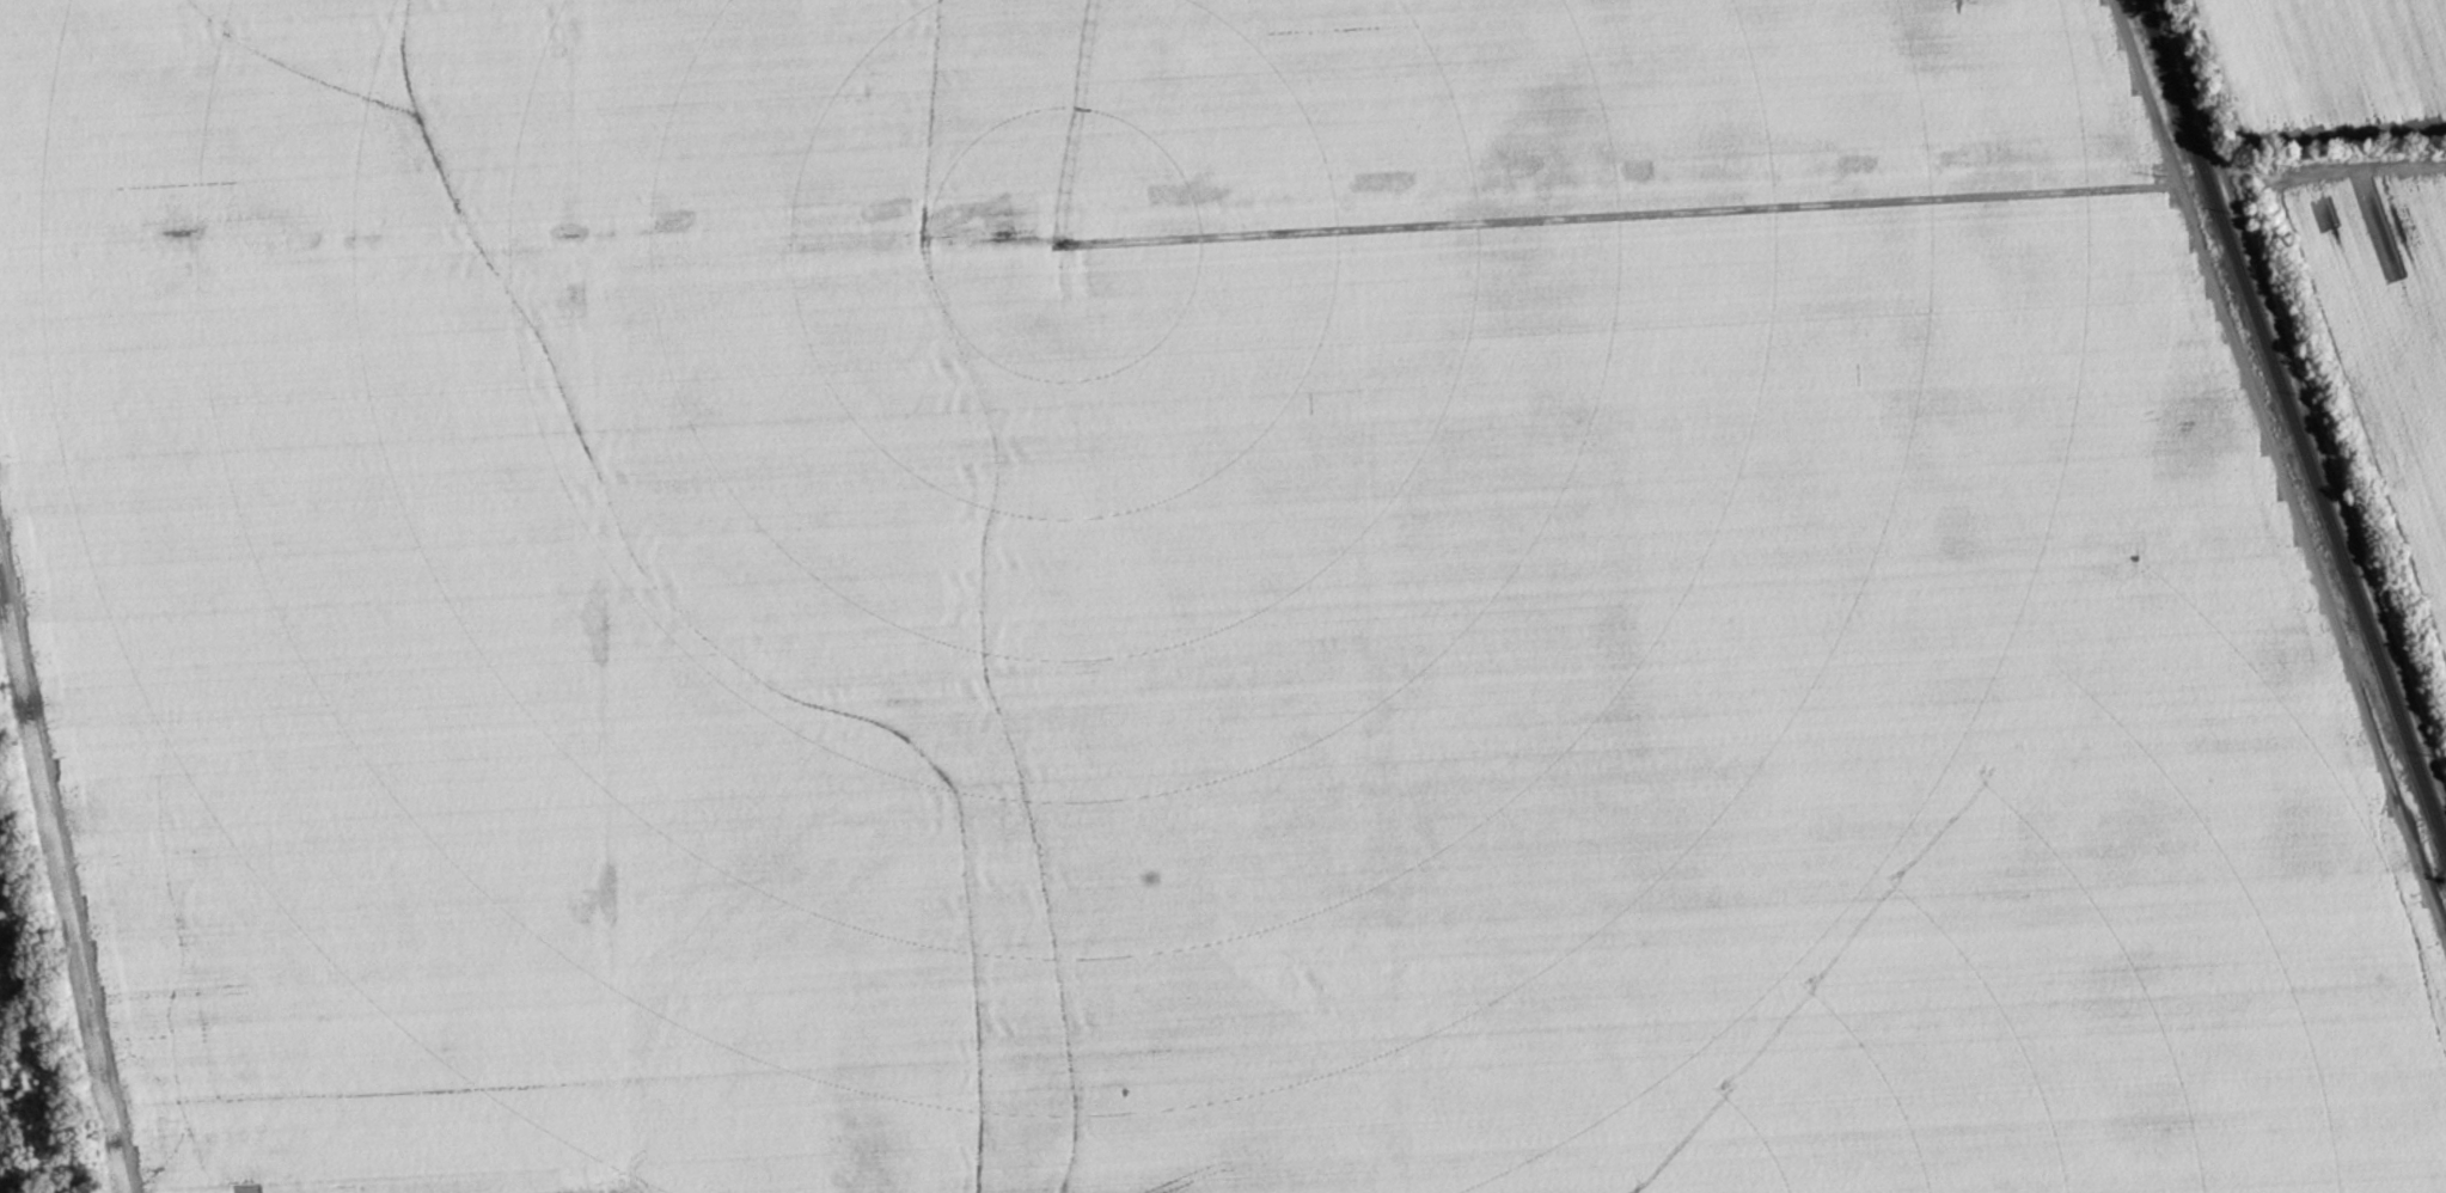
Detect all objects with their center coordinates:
railway: (2298, 414)
road: (2282, 484)

